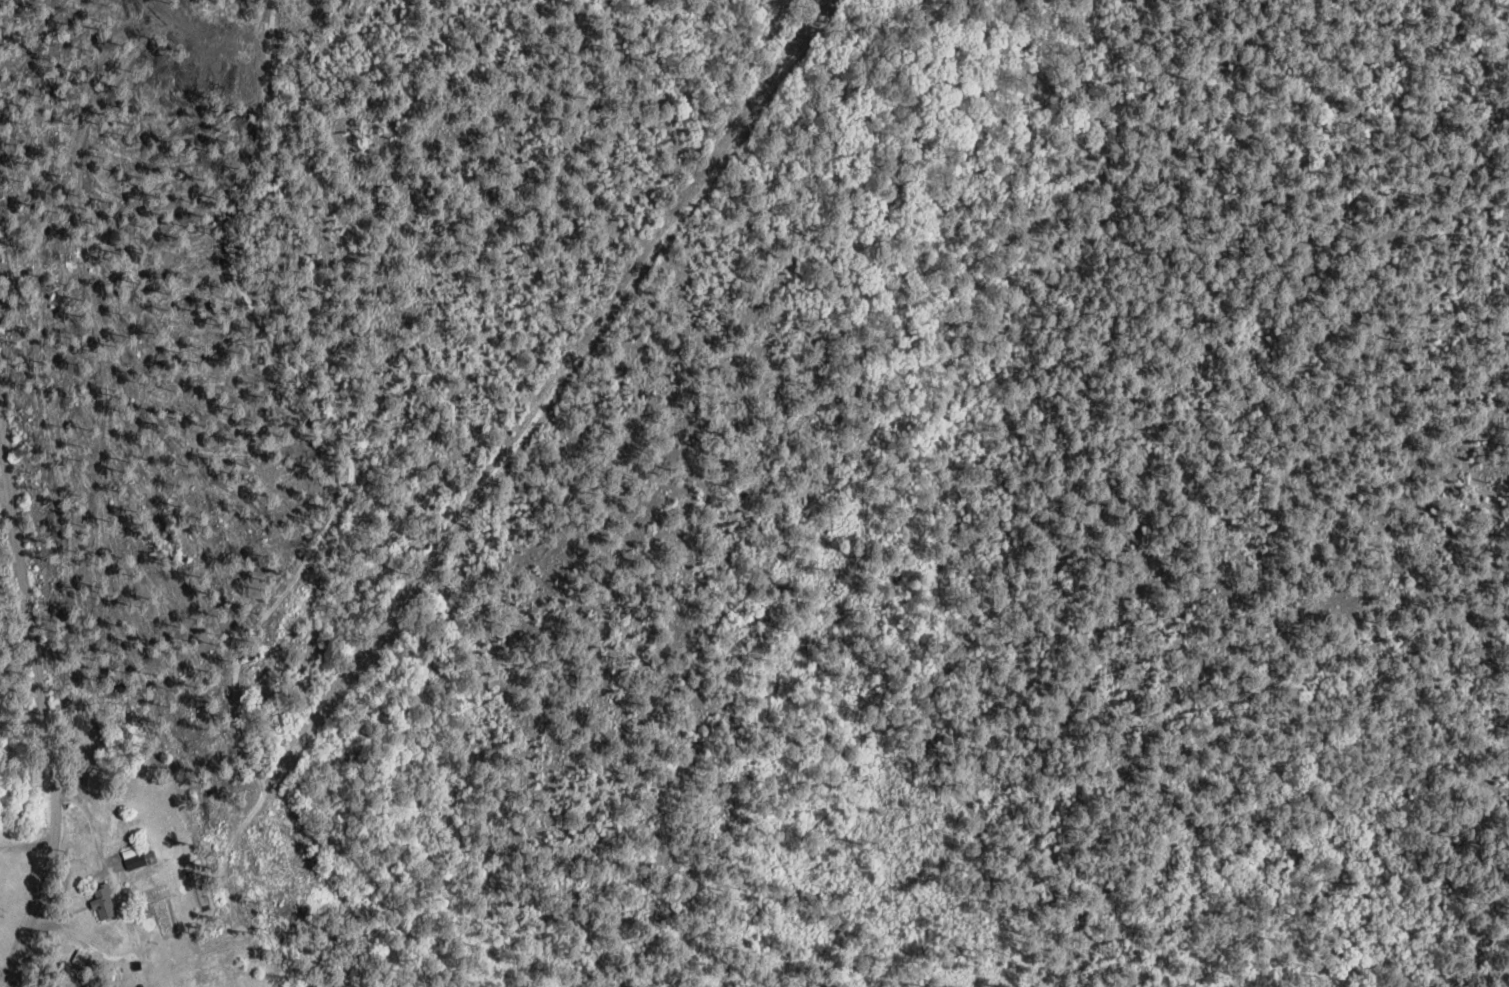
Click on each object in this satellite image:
road: (28, 714)
building: (134, 858)
building: (104, 901)

